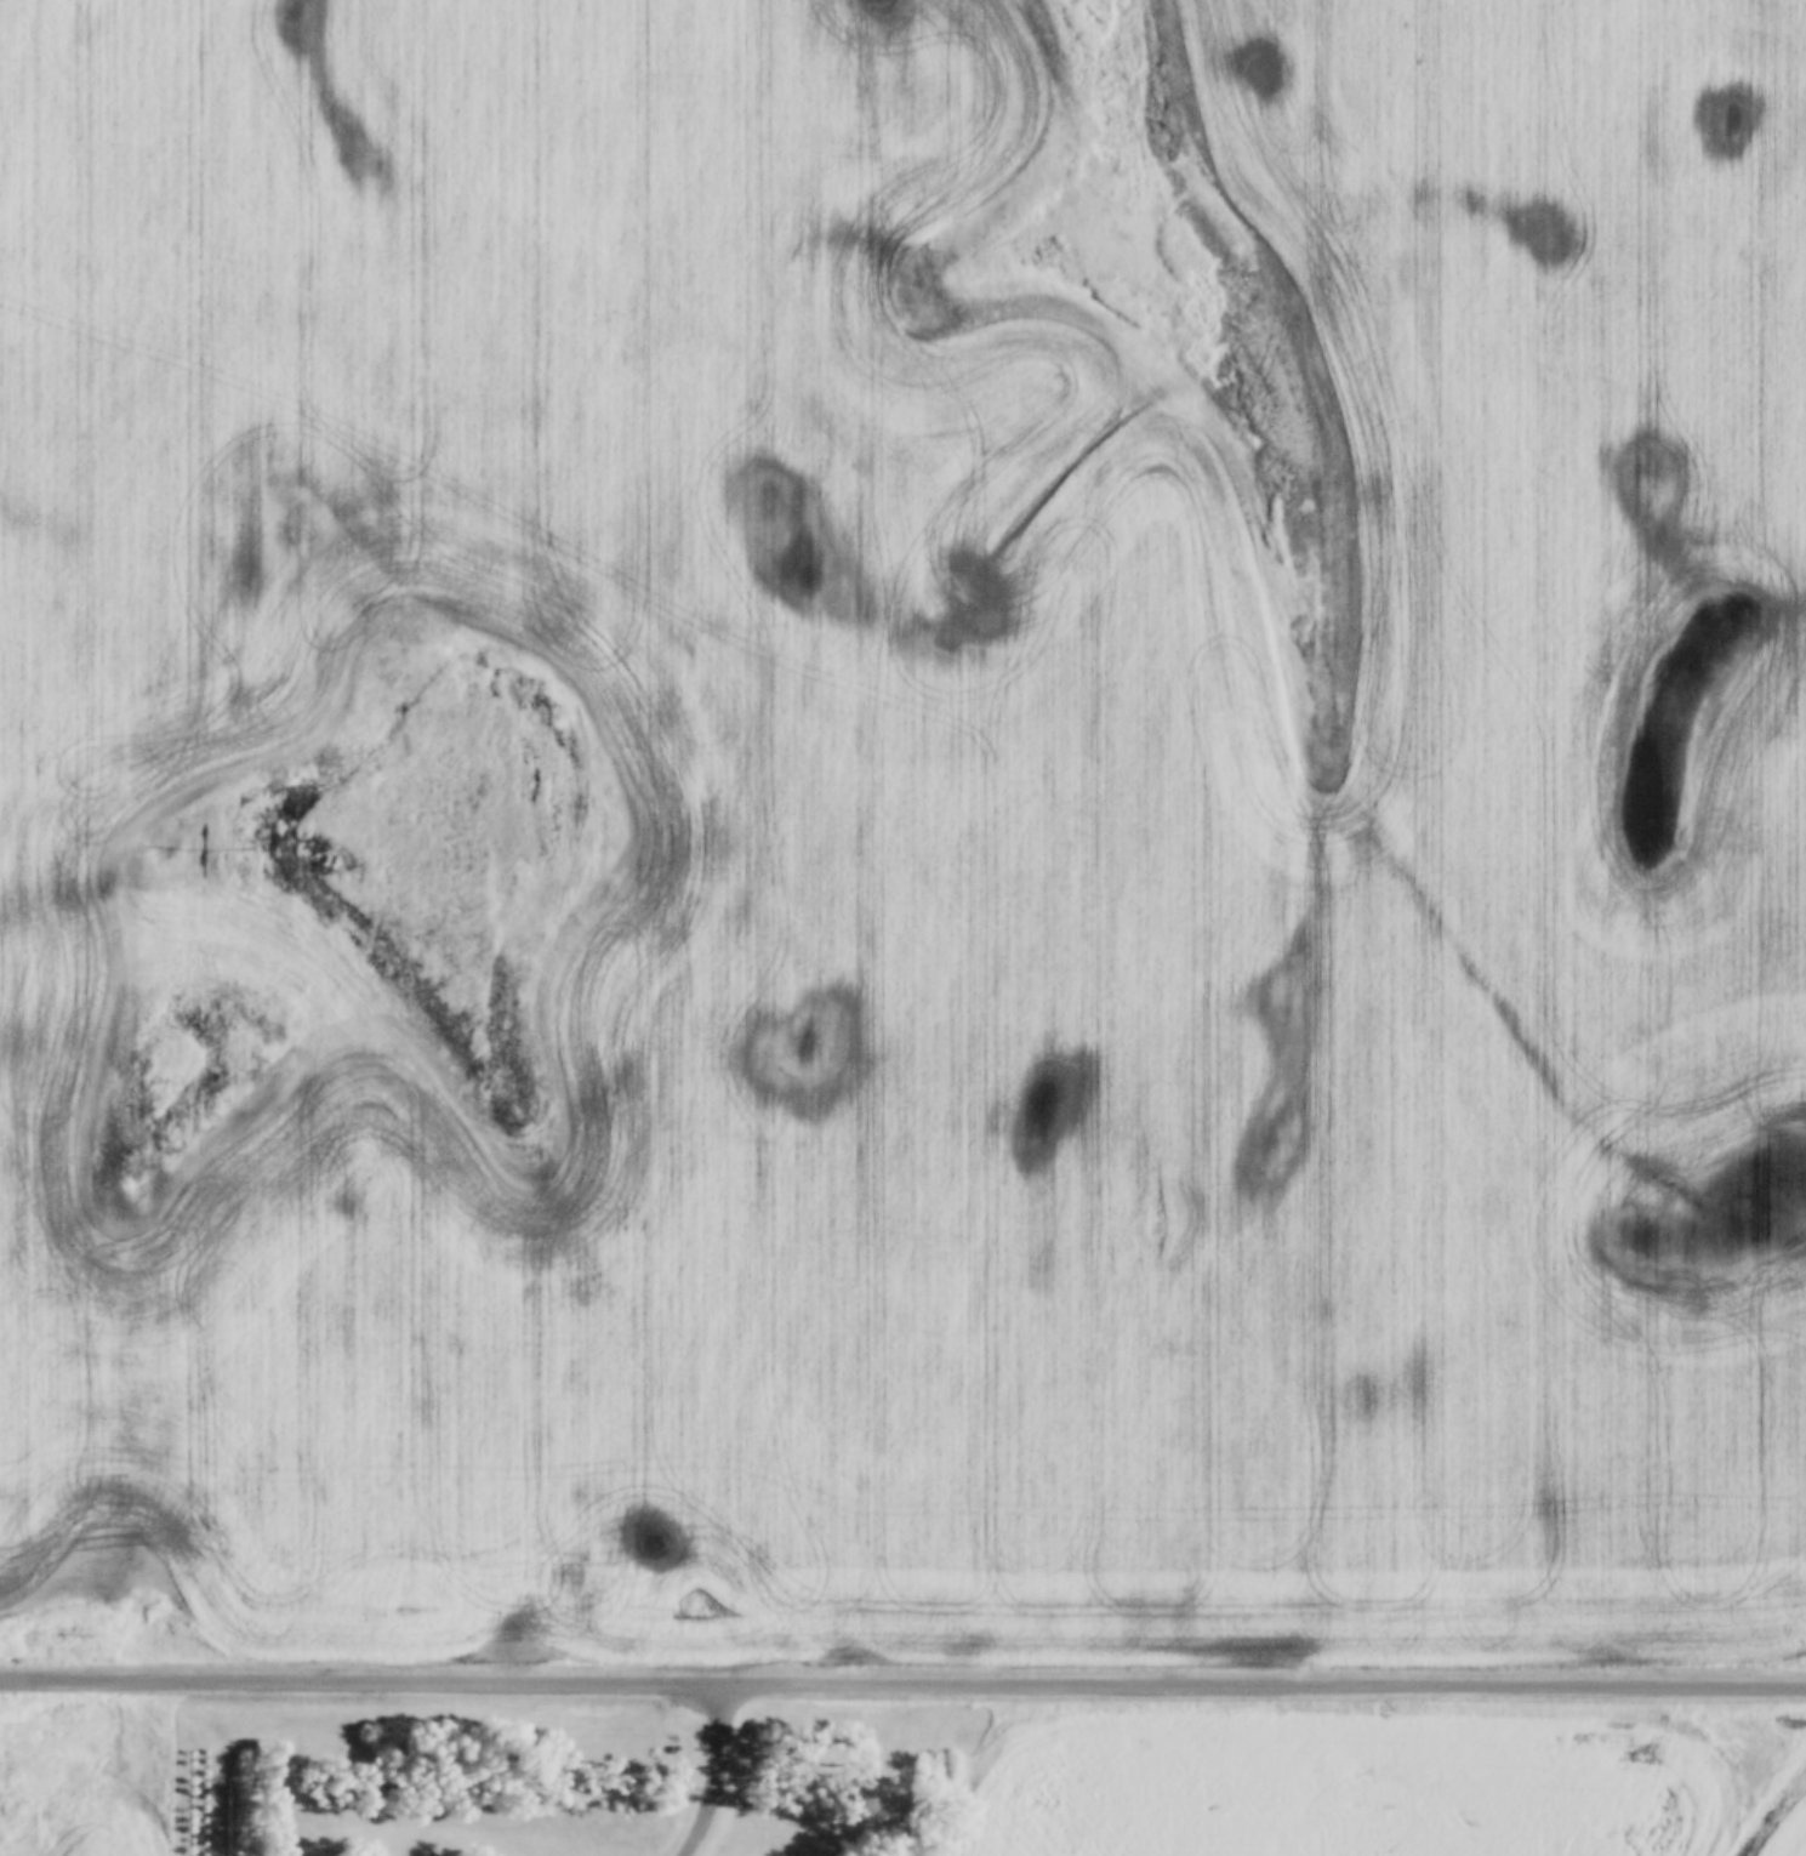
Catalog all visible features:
road: (902, 1686)
road: (713, 1775)

